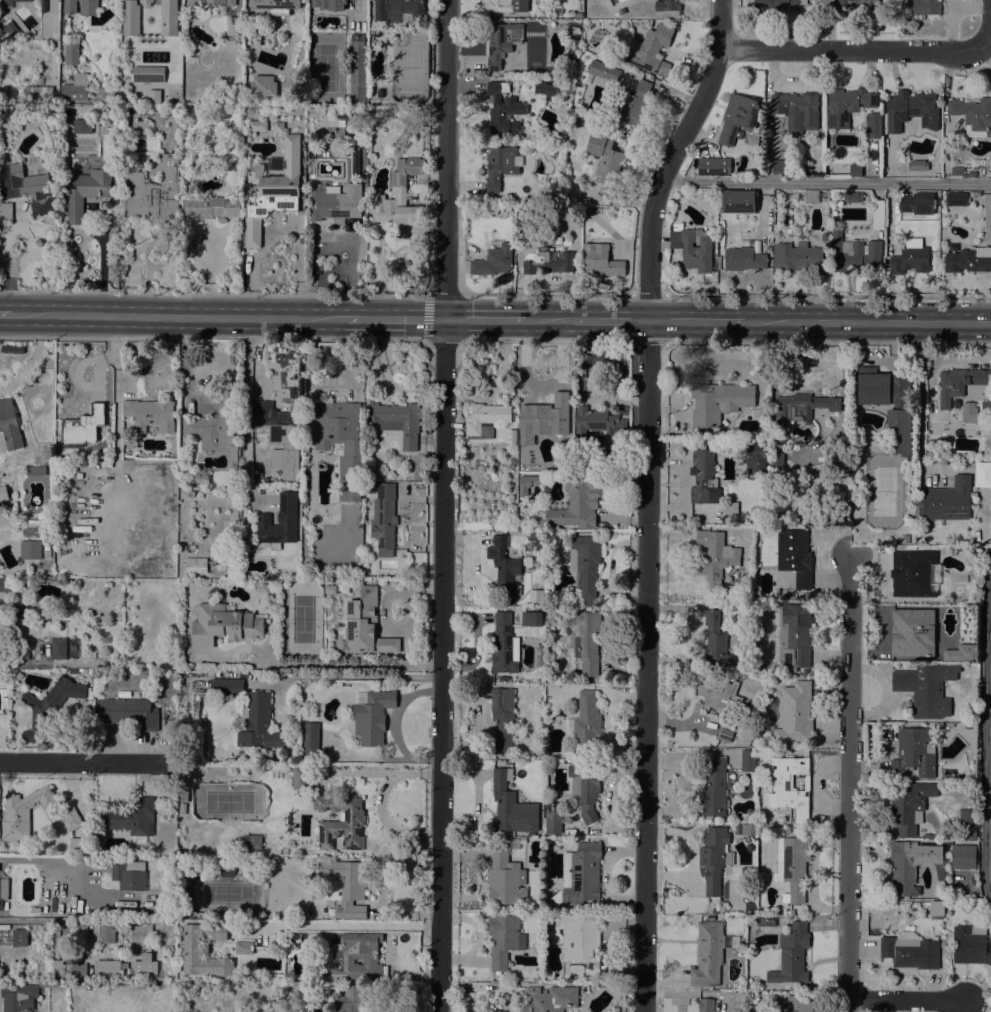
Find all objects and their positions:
building: (41, 0)
building: (145, 2)
building: (210, 2)
building: (11, 3)
building: (329, 4)
building: (667, 5)
building: (777, 5)
building: (858, 5)
building: (69, 6)
building: (275, 6)
building: (507, 6)
building: (88, 7)
building: (926, 7)
building: (399, 11)
building: (578, 14)
building: (168, 17)
building: (130, 18)
building: (674, 24)
building: (643, 25)
building: (11, 28)
road: (988, 37)
building: (357, 40)
building: (501, 42)
building: (650, 50)
road: (853, 50)
building: (71, 53)
building: (601, 72)
building: (148, 73)
building: (347, 76)
building: (562, 85)
building: (263, 86)
building: (75, 88)
building: (543, 88)
building: (37, 91)
building: (361, 97)
building: (634, 104)
building: (846, 105)
building: (503, 108)
building: (796, 110)
building: (911, 110)
building: (313, 111)
building: (973, 113)
building: (737, 118)
building: (562, 120)
building: (140, 125)
building: (873, 125)
building: (82, 126)
building: (257, 126)
building: (278, 126)
building: (754, 139)
building: (604, 160)
building: (501, 165)
building: (713, 165)
building: (917, 165)
building: (547, 166)
building: (781, 166)
building: (855, 169)
building: (960, 172)
road: (827, 182)
building: (25, 188)
building: (272, 190)
building: (86, 191)
building: (250, 191)
building: (153, 192)
building: (973, 194)
building: (398, 196)
building: (811, 196)
building: (853, 196)
building: (956, 198)
building: (533, 199)
building: (738, 201)
building: (917, 203)
building: (330, 204)
building: (211, 207)
building: (6, 211)
building: (528, 214)
building: (877, 214)
road: (285, 226)
building: (824, 236)
road: (334, 237)
building: (691, 248)
building: (854, 253)
building: (798, 257)
building: (909, 258)
building: (743, 259)
building: (493, 260)
building: (601, 260)
building: (548, 261)
building: (966, 261)
road: (101, 267)
road: (819, 297)
road: (4, 313)
road: (178, 315)
road: (395, 318)
road: (484, 319)
road: (548, 319)
road: (609, 320)
road: (697, 320)
road: (868, 321)
road: (819, 343)
road: (955, 361)
building: (581, 372)
building: (958, 383)
road: (247, 397)
building: (889, 401)
building: (717, 402)
building: (803, 405)
building: (969, 409)
building: (149, 414)
building: (485, 417)
building: (542, 420)
building: (397, 421)
building: (601, 423)
building: (9, 425)
building: (83, 425)
building: (214, 430)
building: (277, 432)
building: (341, 442)
building: (842, 443)
building: (931, 445)
building: (756, 458)
building: (91, 463)
building: (106, 463)
building: (981, 467)
building: (35, 470)
building: (79, 475)
building: (704, 477)
building: (527, 483)
building: (3, 495)
road: (646, 499)
building: (947, 500)
building: (577, 501)
road: (444, 506)
building: (731, 508)
building: (841, 509)
building: (908, 514)
building: (334, 518)
building: (716, 518)
building: (383, 519)
building: (278, 521)
road: (403, 523)
building: (28, 531)
building: (905, 538)
building: (730, 539)
building: (905, 546)
building: (539, 549)
building: (30, 550)
building: (47, 551)
building: (795, 556)
building: (717, 560)
building: (195, 565)
building: (503, 566)
building: (585, 566)
building: (912, 575)
building: (107, 584)
building: (261, 588)
building: (4, 589)
building: (331, 589)
building: (20, 609)
building: (530, 618)
building: (366, 623)
building: (224, 624)
building: (19, 628)
road: (404, 628)
building: (912, 630)
building: (794, 636)
building: (587, 641)
building: (715, 641)
building: (502, 645)
building: (58, 648)
building: (959, 653)
building: (23, 655)
building: (85, 671)
road: (355, 675)
building: (19, 676)
building: (523, 679)
building: (226, 686)
building: (926, 688)
road: (883, 691)
building: (723, 705)
building: (48, 707)
building: (128, 713)
building: (795, 714)
building: (371, 715)
building: (960, 715)
building: (502, 718)
building: (258, 722)
road: (984, 723)
building: (586, 724)
road: (396, 726)
building: (966, 726)
building: (309, 739)
building: (914, 753)
building: (748, 760)
road: (82, 763)
building: (298, 776)
road: (848, 782)
building: (790, 786)
building: (585, 788)
building: (714, 788)
road: (381, 803)
building: (511, 805)
building: (908, 805)
building: (182, 808)
building: (23, 812)
building: (72, 818)
building: (130, 818)
building: (341, 821)
building: (552, 823)
building: (965, 824)
building: (747, 829)
building: (925, 836)
building: (253, 841)
building: (80, 846)
building: (962, 856)
building: (714, 857)
building: (793, 866)
building: (903, 866)
building: (183, 867)
building: (226, 872)
building: (581, 873)
building: (127, 877)
building: (506, 877)
building: (344, 886)
building: (3, 891)
building: (975, 892)
building: (749, 908)
building: (935, 908)
building: (302, 911)
road: (30, 920)
road: (356, 924)
building: (96, 932)
building: (19, 937)
building: (141, 937)
building: (504, 939)
building: (580, 943)
building: (970, 944)
building: (242, 947)
building: (910, 950)
building: (708, 953)
building: (202, 954)
building: (791, 955)
building: (357, 957)
building: (107, 969)
building: (49, 972)
building: (19, 995)
building: (349, 998)
building: (550, 999)
building: (737, 1000)
road: (904, 1000)
building: (799, 1003)
building: (706, 1005)

